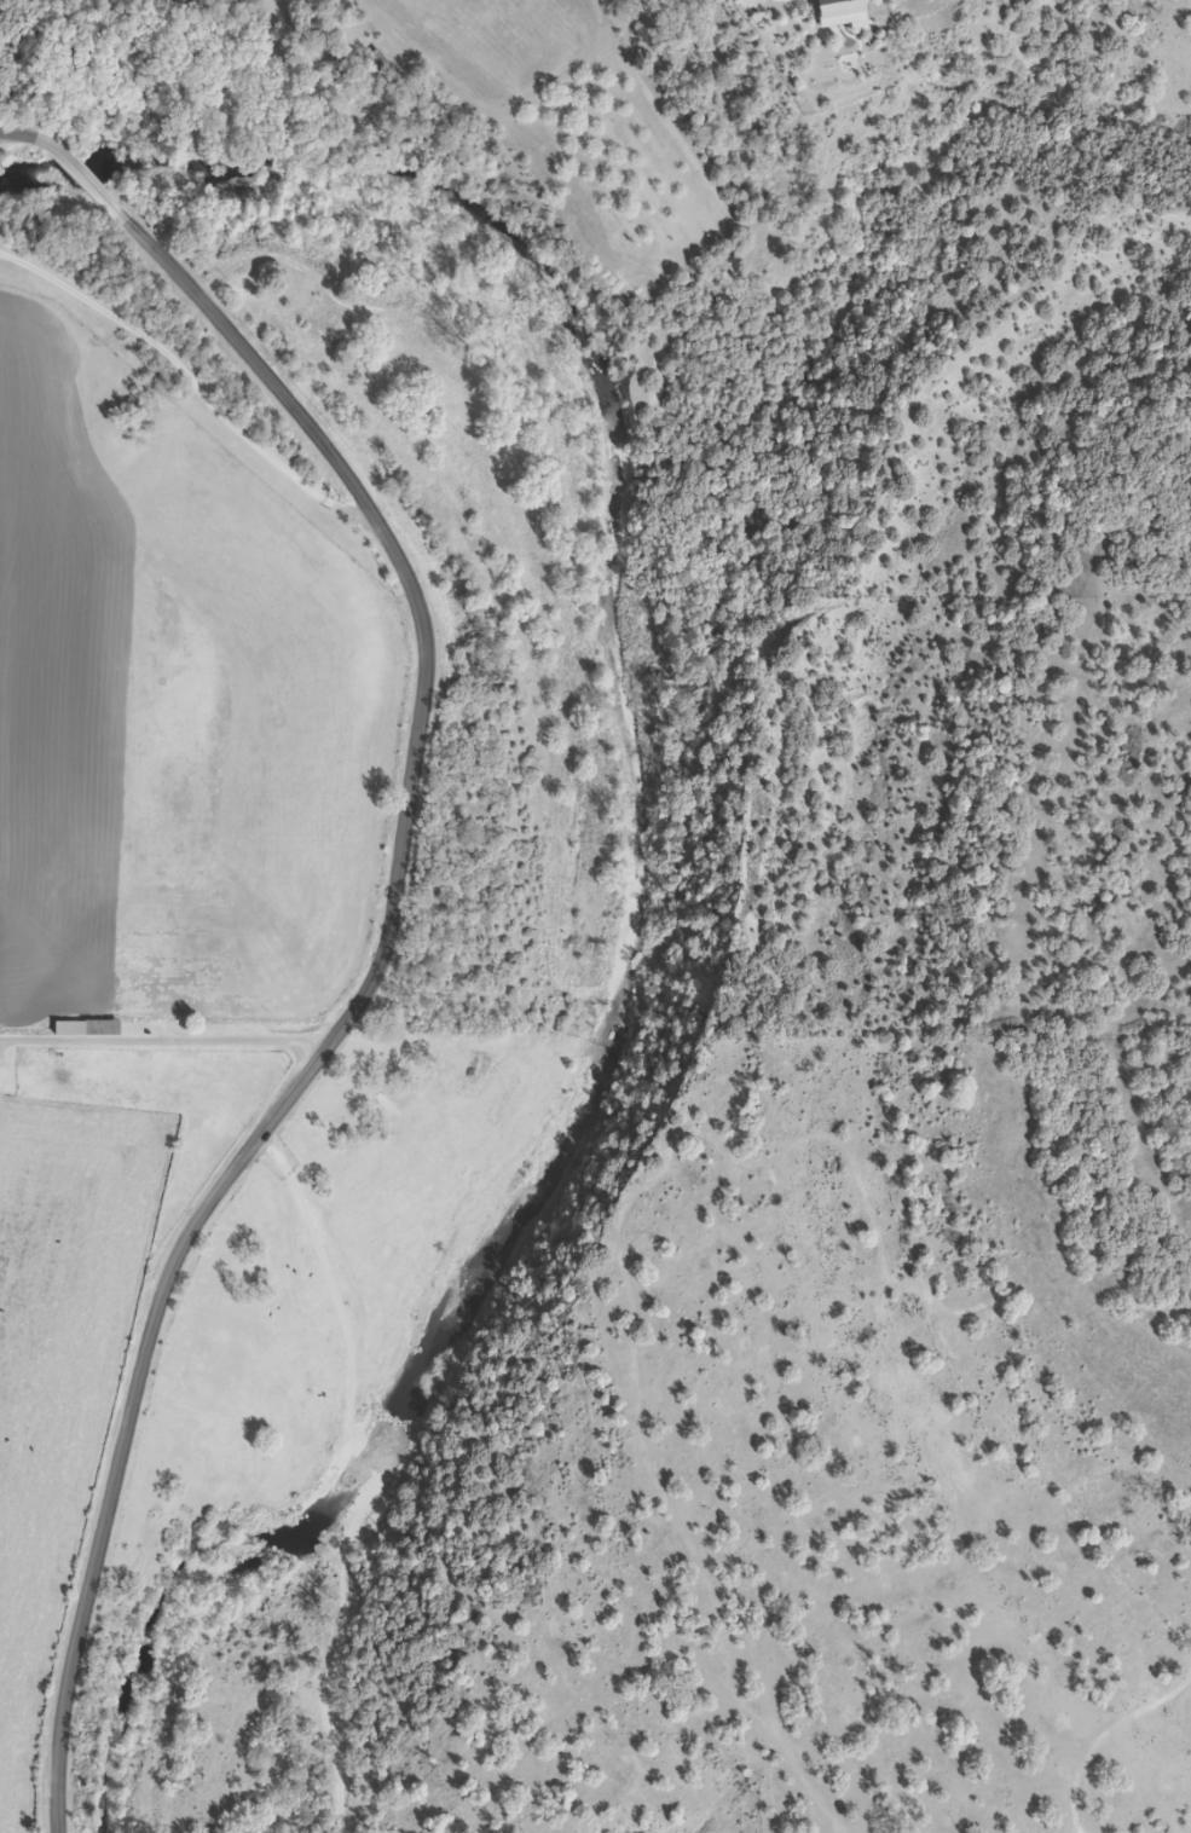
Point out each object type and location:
building: (828, 12)
road: (191, 382)
road: (802, 756)
road: (382, 932)
building: (77, 1025)
road: (163, 1037)
road: (393, 1467)
road: (1138, 1762)

